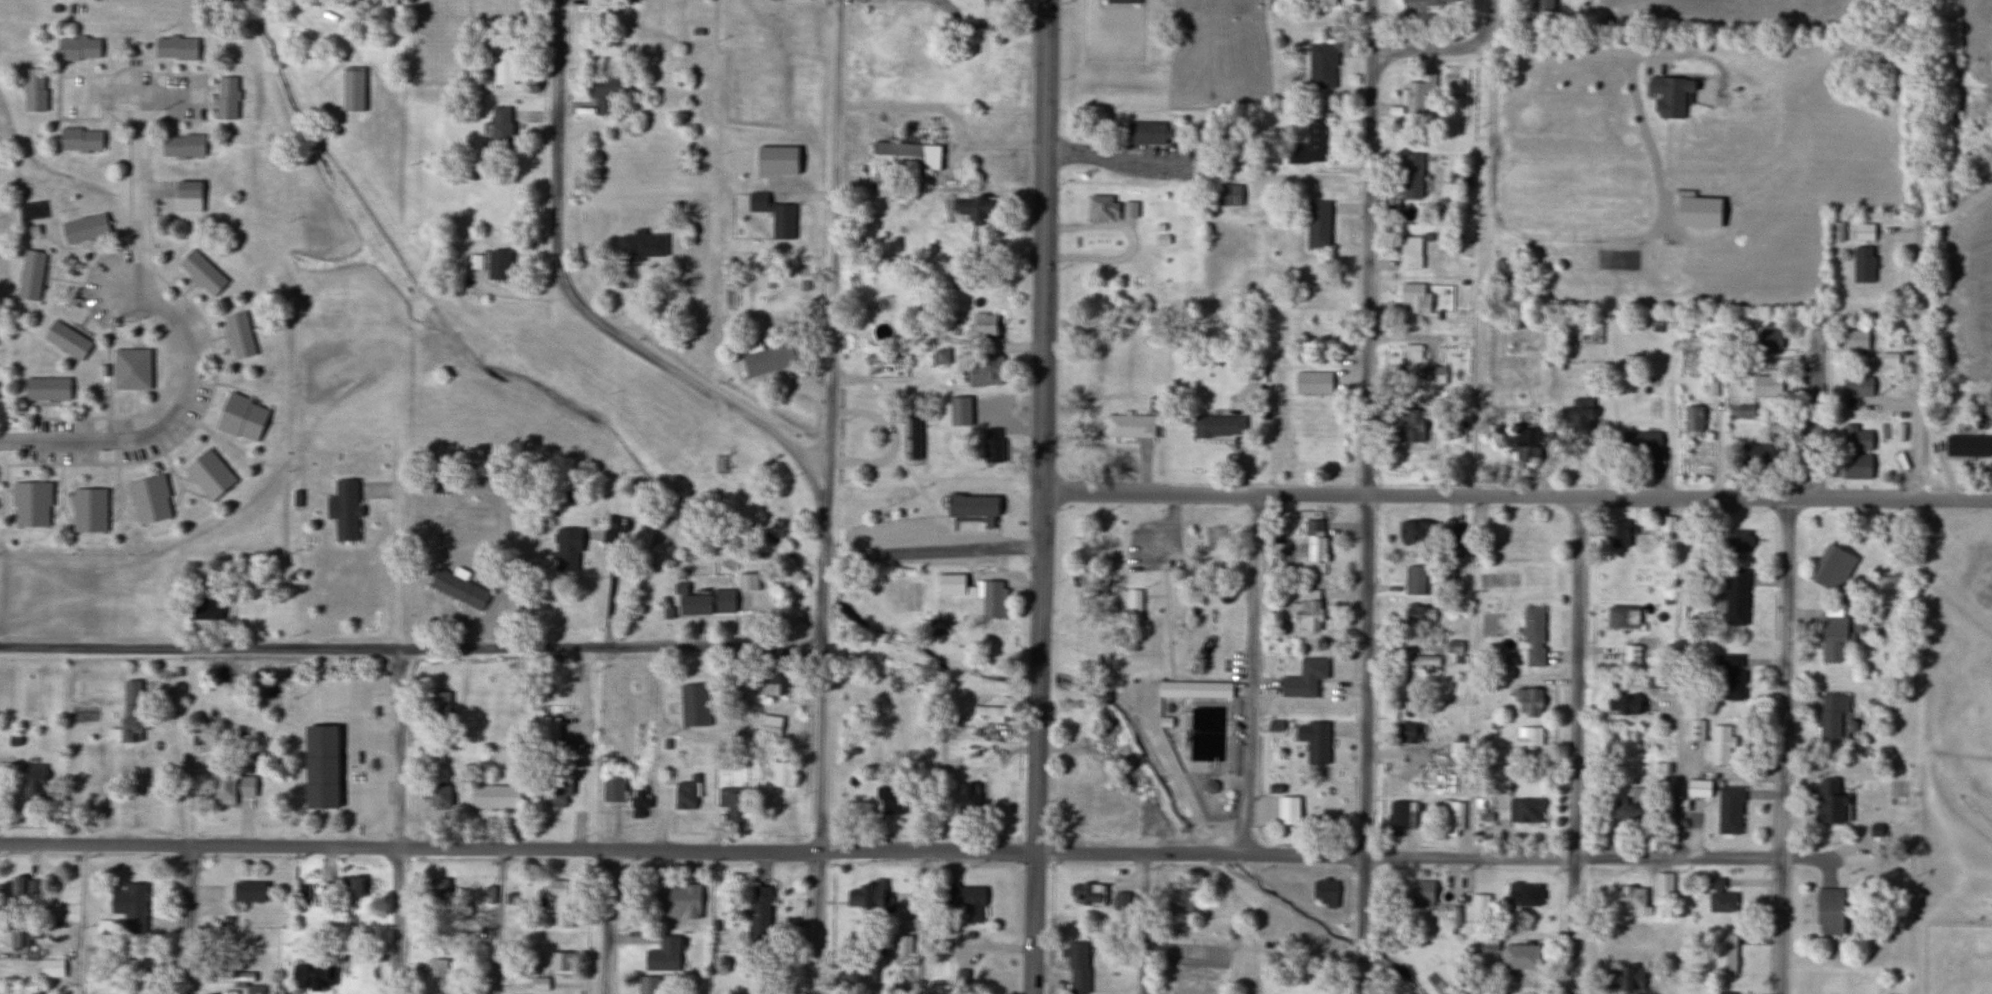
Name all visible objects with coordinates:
building: (1125, 0)
building: (1428, 2)
building: (1322, 3)
building: (596, 4)
building: (1540, 6)
building: (991, 9)
road: (313, 24)
building: (174, 48)
building: (76, 49)
road: (1450, 50)
building: (1321, 66)
building: (503, 68)
building: (352, 89)
building: (33, 91)
building: (1419, 93)
building: (602, 94)
building: (1668, 95)
road: (133, 97)
building: (225, 98)
road: (902, 105)
building: (1952, 119)
building: (499, 129)
building: (1143, 133)
building: (79, 139)
building: (1309, 144)
building: (181, 146)
building: (904, 157)
building: (775, 161)
building: (1411, 176)
building: (1226, 196)
building: (1101, 208)
building: (973, 209)
building: (1128, 210)
building: (773, 216)
building: (1317, 224)
building: (83, 228)
building: (1862, 231)
building: (641, 246)
building: (1409, 252)
building: (496, 264)
building: (1863, 264)
building: (201, 272)
building: (1504, 272)
building: (30, 275)
building: (1414, 297)
road: (578, 302)
building: (985, 323)
road: (833, 325)
building: (238, 334)
building: (1768, 339)
building: (1855, 339)
building: (65, 340)
road: (186, 340)
road: (1922, 343)
building: (941, 357)
building: (1889, 358)
building: (766, 359)
building: (884, 359)
building: (1412, 361)
building: (129, 368)
building: (986, 372)
building: (1255, 374)
building: (1434, 375)
building: (1714, 378)
building: (1312, 383)
building: (1762, 385)
building: (1857, 386)
building: (44, 389)
building: (1744, 410)
building: (958, 411)
building: (1578, 415)
road: (1814, 416)
building: (239, 417)
building: (1692, 420)
building: (1410, 425)
building: (1128, 426)
building: (1217, 426)
building: (914, 434)
building: (1639, 442)
building: (991, 445)
building: (1966, 445)
building: (1521, 451)
building: (1759, 451)
building: (1855, 451)
building: (207, 473)
road: (1202, 494)
road: (1578, 495)
road: (1366, 496)
road: (1038, 497)
road: (1800, 498)
building: (147, 499)
road: (1902, 499)
building: (30, 504)
building: (973, 505)
building: (342, 509)
building: (87, 510)
building: (1667, 524)
building: (1412, 531)
building: (1618, 533)
park: (1221, 535)
building: (1520, 535)
building: (567, 537)
building: (1739, 540)
building: (1314, 541)
building: (1452, 542)
road: (932, 551)
building: (1830, 567)
building: (1445, 574)
road: (401, 580)
building: (1414, 580)
road: (609, 587)
building: (457, 588)
building: (971, 592)
building: (1735, 596)
building: (705, 604)
building: (1133, 607)
building: (206, 609)
building: (1308, 614)
building: (1418, 614)
building: (1622, 616)
park: (1161, 630)
building: (1832, 633)
building: (1532, 635)
road: (411, 647)
building: (1454, 647)
building: (1631, 654)
building: (1415, 660)
building: (1729, 674)
road: (1251, 675)
building: (1303, 679)
building: (773, 684)
building: (1192, 689)
building: (1526, 701)
building: (438, 704)
building: (1620, 704)
building: (129, 713)
building: (989, 713)
building: (1830, 715)
building: (770, 726)
building: (549, 727)
building: (1072, 727)
building: (1694, 729)
building: (1407, 732)
building: (1530, 737)
building: (1316, 742)
building: (1720, 744)
road: (1577, 745)
road: (1784, 746)
road: (821, 751)
road: (1132, 761)
building: (318, 766)
building: (1412, 768)
building: (1072, 771)
building: (782, 774)
building: (1498, 779)
building: (33, 780)
building: (1697, 787)
building: (221, 788)
building: (613, 788)
building: (556, 791)
building: (686, 793)
building: (438, 796)
building: (494, 796)
building: (966, 797)
building: (888, 799)
building: (1827, 800)
building: (638, 801)
building: (731, 802)
building: (1625, 809)
building: (1728, 809)
building: (1518, 810)
building: (1401, 814)
building: (1451, 818)
road: (398, 846)
road: (681, 850)
road: (1469, 856)
road: (189, 857)
road: (1678, 858)
building: (1663, 883)
building: (349, 887)
building: (20, 888)
building: (247, 891)
building: (1325, 892)
building: (437, 894)
building: (488, 894)
building: (1087, 894)
building: (1417, 894)
building: (864, 895)
building: (1521, 895)
building: (1719, 897)
building: (1627, 898)
building: (560, 901)
building: (676, 901)
building: (964, 901)
building: (1479, 906)
building: (130, 907)
building: (1828, 910)
building: (757, 913)
road: (497, 921)
road: (609, 922)
building: (908, 922)
road: (814, 923)
road: (1143, 924)
building: (25, 941)
building: (1489, 943)
building: (663, 954)
building: (1724, 954)
building: (1520, 956)
building: (558, 961)
building: (137, 966)
building: (1076, 966)
building: (53, 968)
building: (859, 972)
building: (436, 974)
building: (973, 975)
building: (310, 976)
building: (1624, 977)
building: (231, 978)
building: (540, 983)
building: (648, 984)
building: (1310, 988)
building: (1722, 992)

